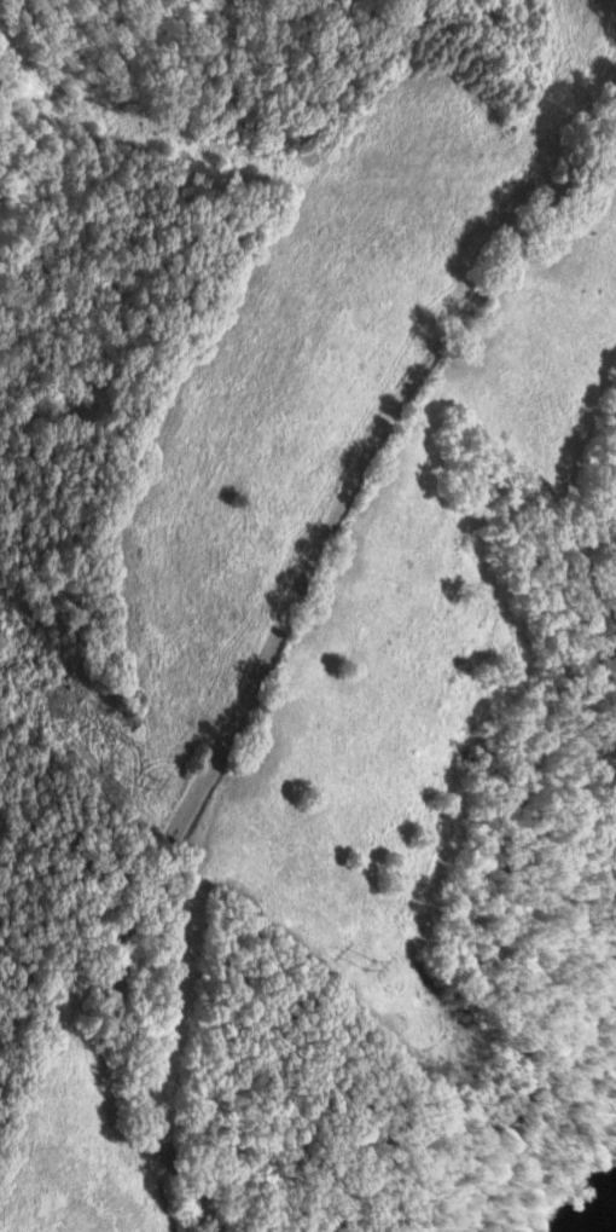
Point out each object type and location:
road: (272, 631)
power tower: (145, 782)
power tower: (372, 968)

